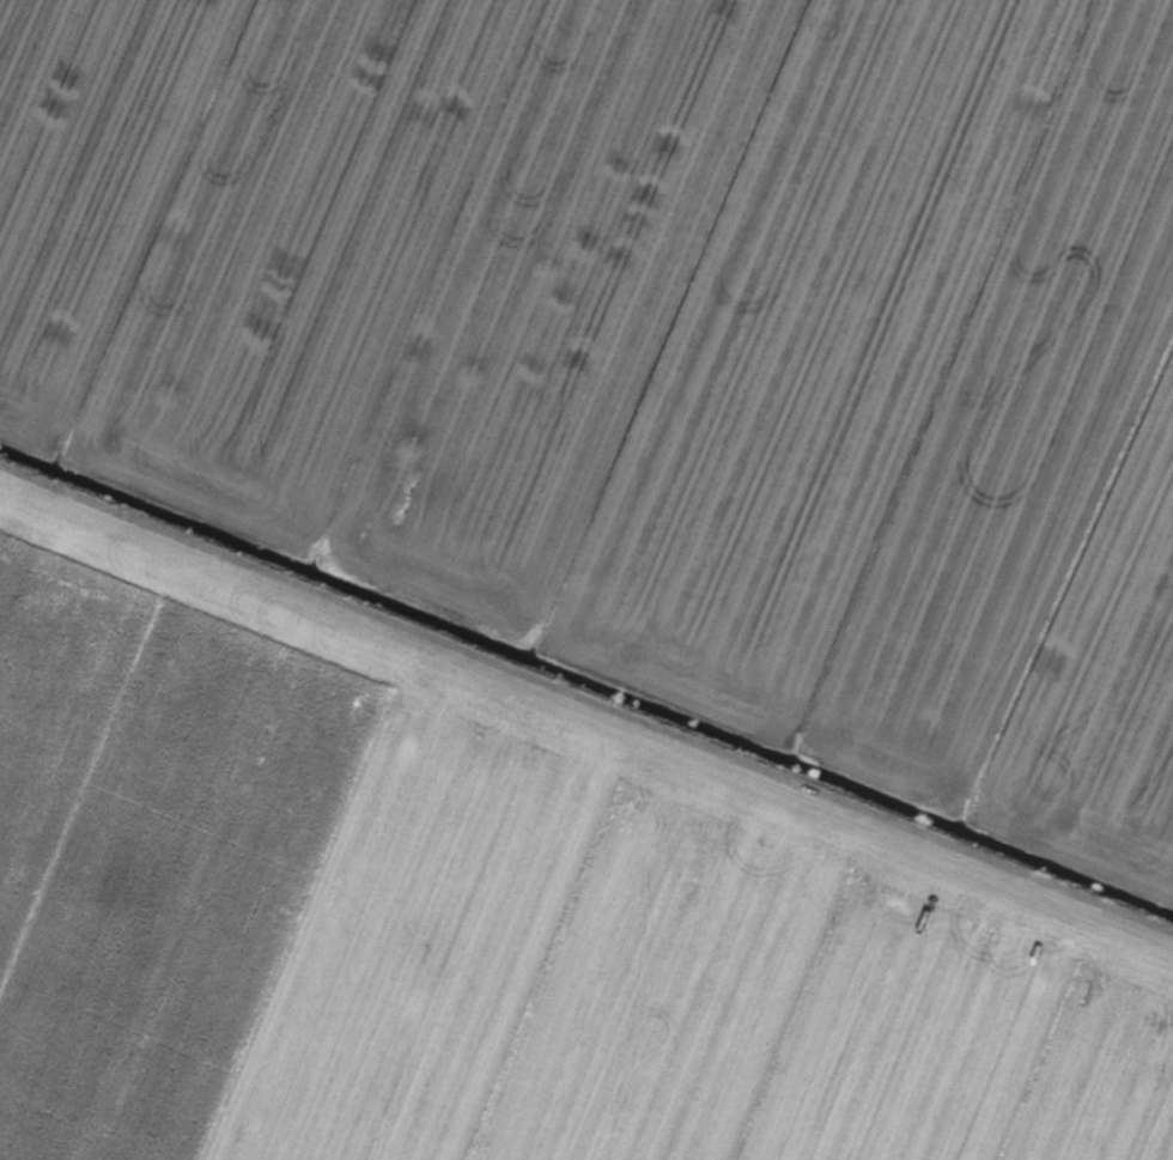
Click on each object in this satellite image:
crop: (586, 579)
road: (586, 722)

